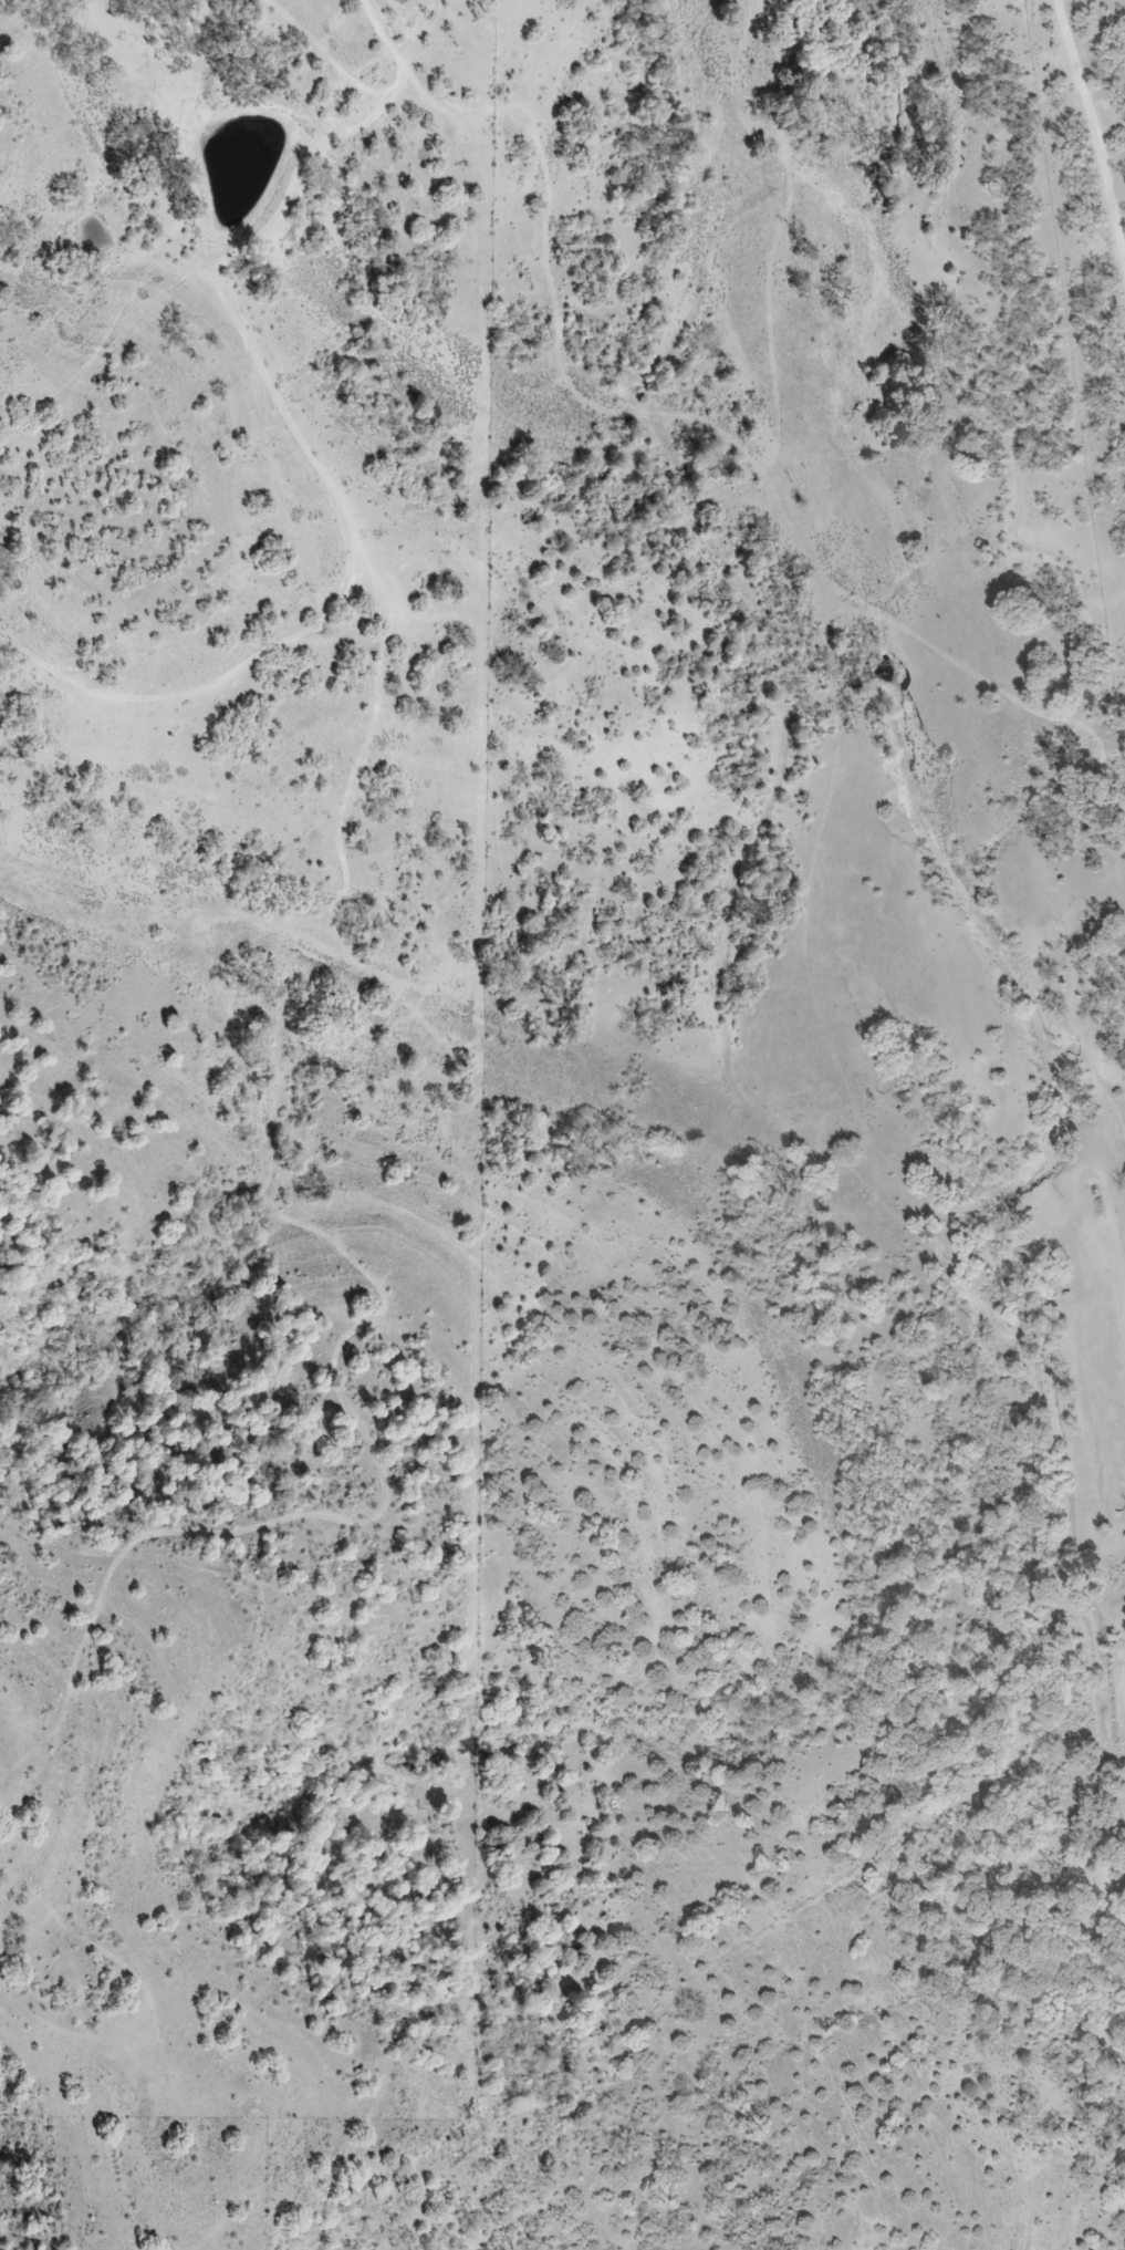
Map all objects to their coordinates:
road: (1103, 85)

